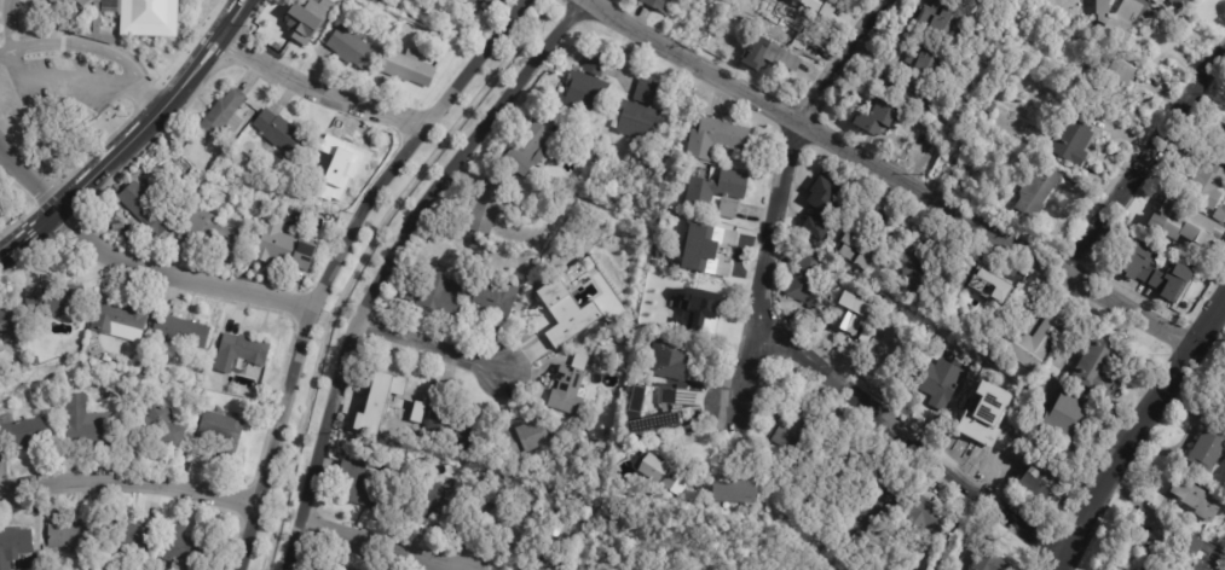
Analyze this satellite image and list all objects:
building: (476, 0)
building: (98, 2)
building: (964, 2)
building: (503, 4)
building: (1181, 4)
building: (71, 5)
building: (658, 5)
building: (824, 7)
building: (145, 17)
building: (1121, 18)
building: (942, 21)
building: (300, 23)
road: (11, 24)
building: (790, 29)
road: (92, 46)
building: (353, 46)
building: (772, 57)
building: (932, 58)
road: (839, 63)
building: (409, 68)
building: (1119, 77)
road: (64, 80)
building: (588, 86)
parking lot: (65, 88)
road: (313, 91)
building: (646, 92)
building: (918, 98)
building: (992, 109)
building: (224, 116)
building: (877, 118)
building: (636, 121)
building: (965, 124)
building: (282, 135)
building: (1075, 135)
building: (717, 138)
road: (129, 140)
building: (923, 140)
building: (528, 150)
building: (1219, 153)
road: (1145, 161)
building: (339, 171)
road: (892, 175)
building: (977, 176)
building: (1206, 184)
building: (717, 190)
building: (1038, 190)
building: (200, 200)
building: (489, 207)
building: (821, 209)
building: (146, 210)
building: (729, 210)
building: (1223, 220)
road: (362, 223)
building: (1188, 226)
building: (889, 231)
road: (379, 232)
building: (210, 234)
road: (395, 240)
building: (476, 246)
building: (284, 249)
building: (856, 250)
building: (710, 251)
road: (335, 262)
road: (389, 263)
building: (536, 264)
building: (655, 266)
road: (137, 268)
road: (765, 272)
building: (919, 273)
building: (1161, 274)
building: (811, 284)
building: (988, 286)
building: (437, 296)
building: (54, 298)
building: (497, 299)
building: (693, 299)
building: (853, 313)
building: (120, 319)
building: (557, 321)
building: (7, 324)
building: (181, 333)
building: (867, 335)
building: (1030, 342)
road: (437, 348)
building: (890, 348)
building: (242, 353)
building: (669, 361)
building: (35, 362)
building: (24, 366)
building: (1098, 370)
building: (938, 382)
building: (570, 391)
building: (666, 400)
building: (392, 403)
building: (981, 417)
building: (1067, 419)
building: (89, 427)
building: (163, 429)
building: (463, 432)
building: (796, 432)
road: (1139, 432)
building: (221, 434)
building: (17, 435)
road: (912, 435)
building: (526, 441)
building: (674, 444)
building: (1209, 448)
building: (844, 471)
building: (665, 475)
building: (1224, 482)
road: (128, 484)
building: (1041, 484)
building: (492, 487)
building: (359, 488)
building: (739, 494)
building: (1195, 498)
building: (446, 499)
building: (582, 513)
building: (869, 514)
building: (931, 518)
building: (512, 527)
building: (71, 535)
building: (133, 536)
building: (15, 545)
road: (385, 545)
building: (179, 547)
building: (1203, 553)
building: (990, 563)
building: (541, 568)
building: (335, 569)

